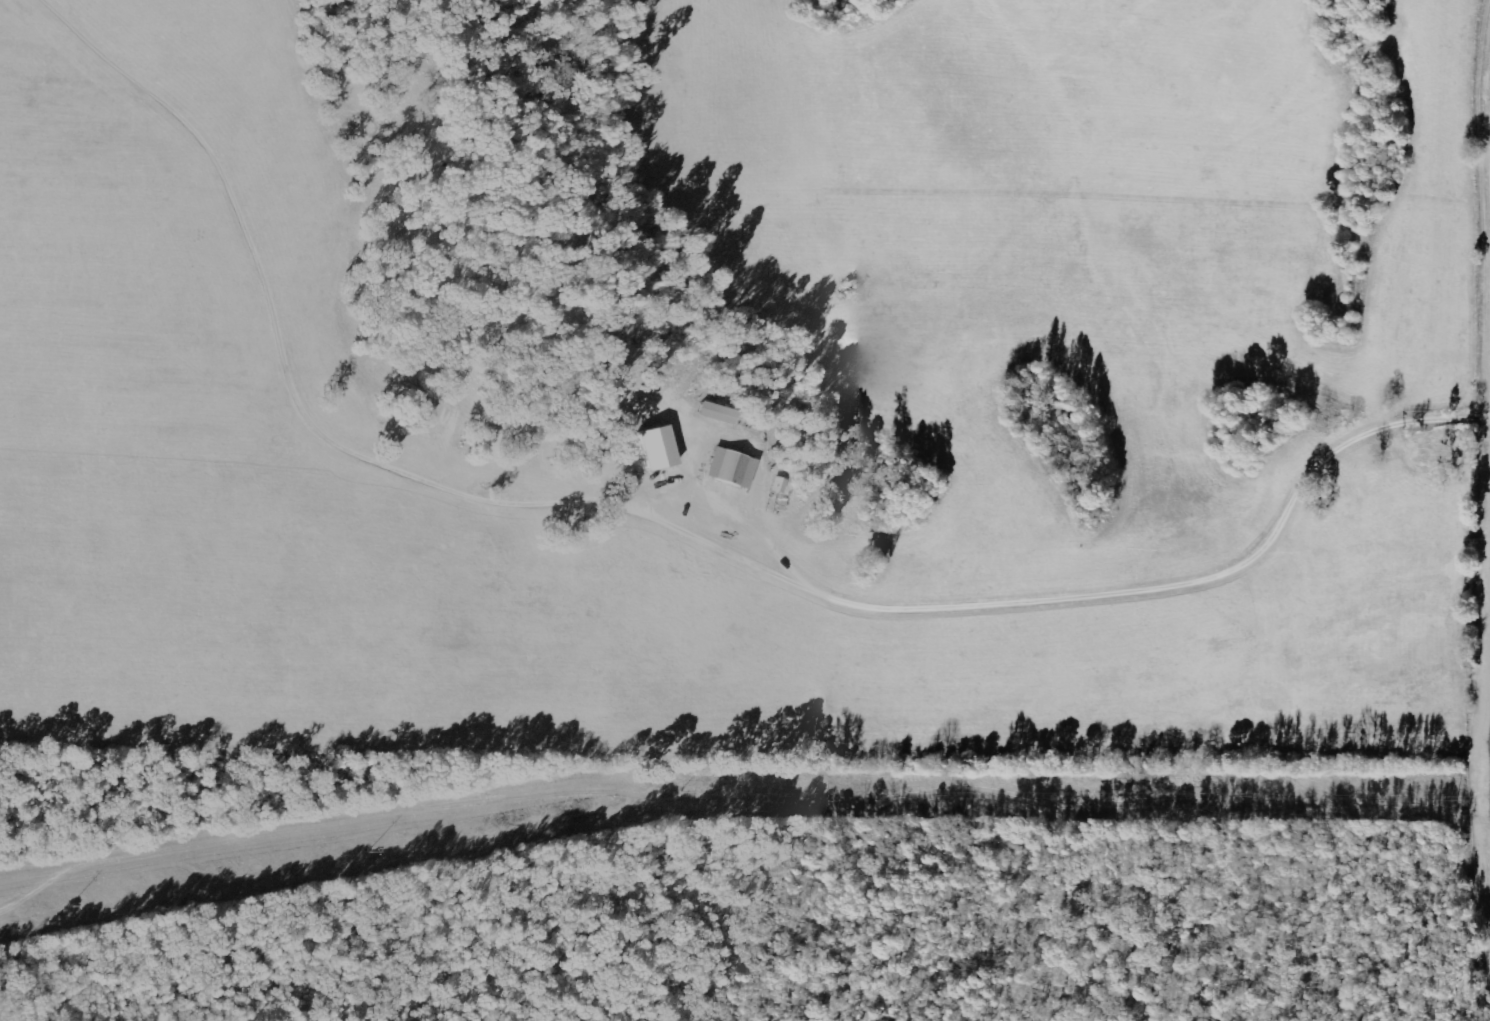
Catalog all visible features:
building: (717, 413)
building: (1453, 446)
building: (656, 447)
building: (731, 467)
building: (778, 485)
road: (1250, 919)

